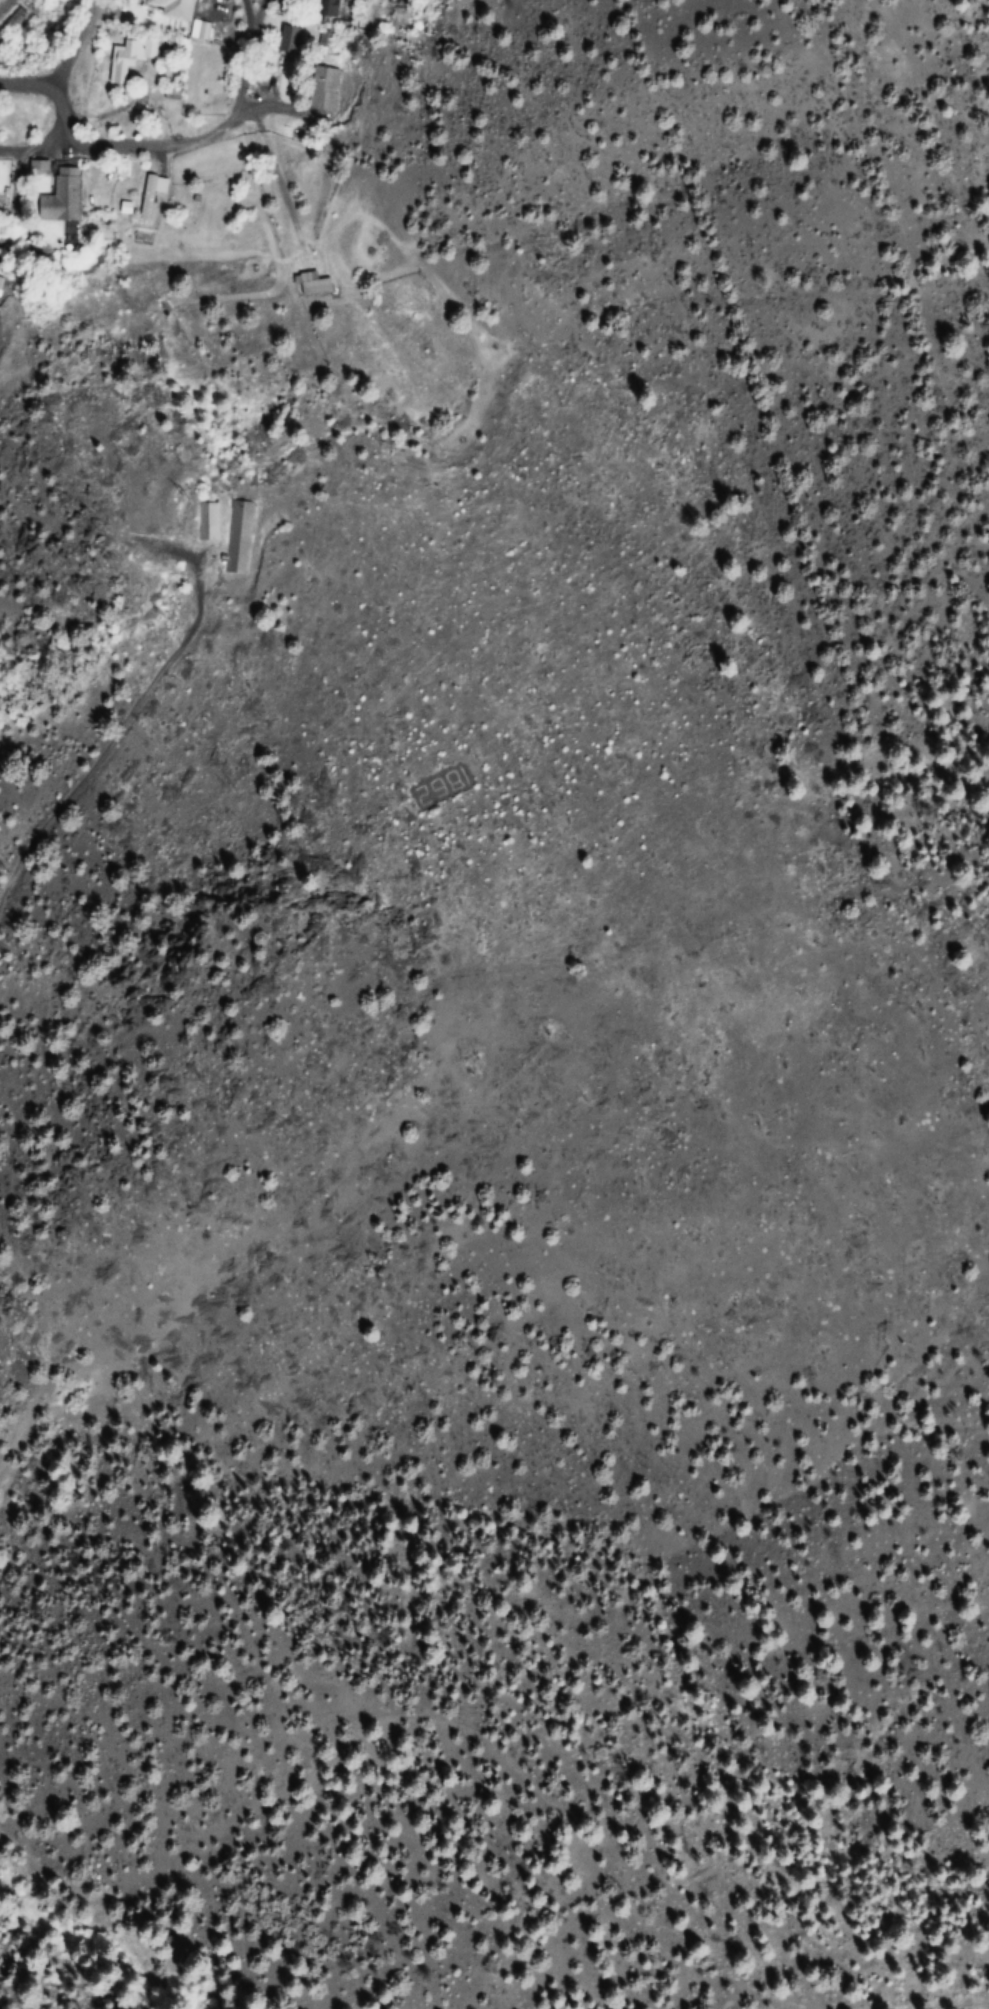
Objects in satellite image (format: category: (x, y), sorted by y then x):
road: (6, 8)
building: (162, 8)
building: (12, 23)
road: (75, 43)
building: (124, 53)
road: (256, 61)
road: (24, 82)
road: (44, 143)
road: (128, 144)
building: (54, 194)
building: (143, 197)
building: (310, 285)
building: (208, 522)
building: (236, 537)
road: (120, 785)

